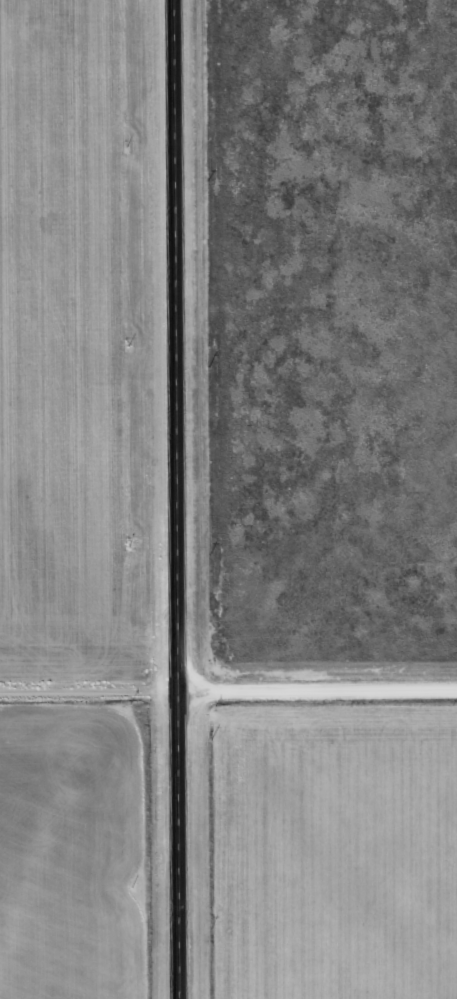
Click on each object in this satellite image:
road: (174, 499)
road: (315, 689)
road: (87, 692)

